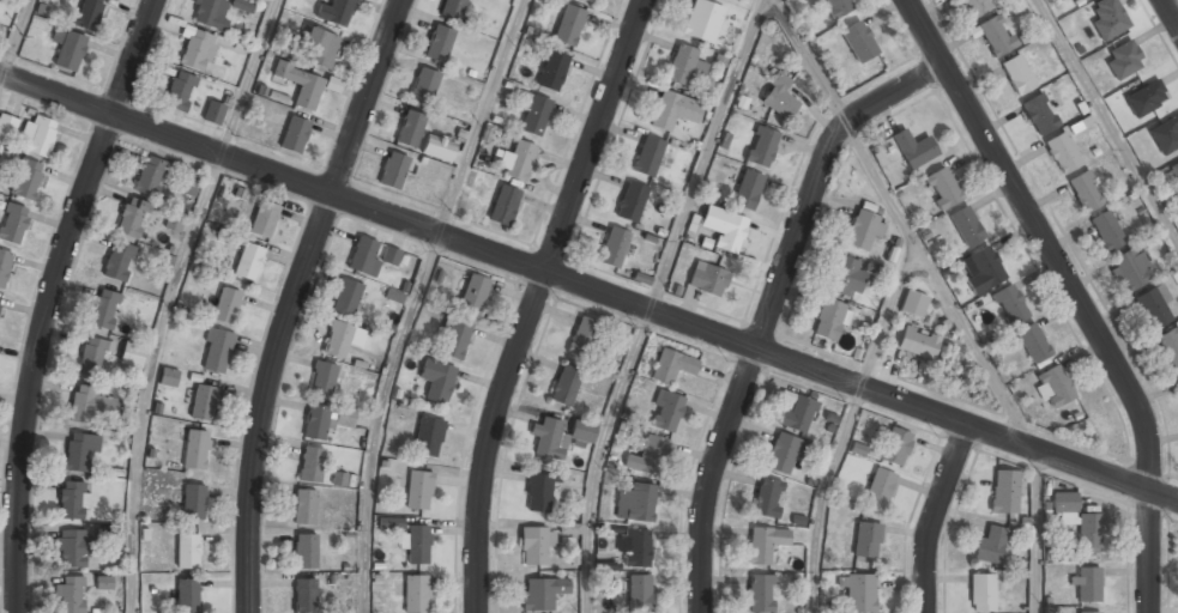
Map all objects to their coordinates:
building: (587, 0)
building: (1071, 0)
building: (1077, 1)
building: (242, 5)
building: (838, 7)
building: (975, 7)
building: (452, 10)
building: (209, 12)
building: (336, 12)
building: (87, 13)
road: (1170, 13)
building: (1108, 18)
building: (701, 22)
building: (569, 24)
building: (995, 35)
road: (13, 37)
building: (439, 44)
building: (860, 45)
building: (320, 49)
building: (70, 50)
building: (197, 50)
building: (1123, 59)
building: (682, 66)
building: (552, 69)
building: (1016, 74)
road: (250, 78)
building: (301, 84)
building: (423, 86)
building: (180, 91)
building: (778, 97)
building: (1144, 97)
building: (673, 111)
building: (212, 113)
building: (534, 114)
building: (1039, 114)
road: (482, 116)
road: (1106, 123)
building: (7, 128)
building: (410, 129)
building: (295, 134)
building: (1165, 134)
building: (37, 136)
building: (761, 146)
building: (914, 147)
building: (437, 148)
building: (1062, 152)
road: (707, 154)
building: (648, 157)
building: (516, 160)
building: (1176, 169)
building: (393, 170)
building: (149, 176)
building: (25, 180)
building: (188, 184)
building: (942, 188)
building: (748, 190)
building: (1086, 190)
building: (630, 202)
building: (503, 205)
building: (132, 219)
building: (264, 219)
building: (175, 220)
building: (12, 223)
road: (901, 225)
building: (966, 226)
building: (863, 227)
building: (724, 229)
building: (1106, 231)
building: (614, 247)
building: (368, 256)
building: (117, 262)
building: (248, 262)
building: (4, 265)
building: (981, 271)
building: (1131, 271)
building: (708, 278)
building: (846, 278)
road: (588, 287)
road: (1073, 292)
building: (473, 293)
building: (0, 298)
road: (49, 298)
road: (292, 298)
building: (346, 298)
road: (534, 301)
building: (913, 303)
building: (225, 306)
building: (1010, 306)
building: (1153, 308)
road: (769, 309)
building: (104, 310)
road: (888, 316)
building: (829, 320)
building: (582, 336)
building: (455, 339)
building: (338, 340)
building: (917, 342)
building: (1033, 342)
building: (1168, 346)
building: (217, 352)
building: (132, 354)
building: (93, 356)
building: (671, 365)
building: (169, 377)
road: (147, 378)
building: (436, 380)
building: (322, 381)
building: (1177, 381)
building: (564, 384)
building: (1055, 387)
building: (204, 403)
building: (85, 405)
building: (665, 411)
building: (797, 414)
building: (344, 417)
road: (379, 418)
building: (316, 423)
building: (428, 436)
building: (558, 436)
building: (895, 447)
building: (195, 450)
building: (79, 453)
building: (784, 453)
building: (648, 455)
road: (596, 456)
building: (312, 465)
building: (339, 479)
building: (880, 487)
building: (418, 490)
building: (1004, 492)
building: (538, 493)
road: (821, 496)
building: (767, 498)
building: (73, 500)
building: (193, 503)
building: (635, 503)
building: (304, 508)
road: (935, 516)
building: (1079, 520)
building: (391, 523)
building: (569, 528)
road: (1034, 532)
building: (866, 540)
building: (765, 544)
building: (417, 545)
building: (991, 545)
building: (536, 546)
building: (635, 547)
building: (72, 548)
building: (188, 552)
building: (306, 552)
building: (608, 566)
building: (1086, 582)
building: (104, 583)
building: (981, 591)
building: (858, 593)
building: (416, 594)
building: (543, 594)
building: (639, 594)
building: (760, 594)
building: (70, 595)
building: (187, 596)
building: (304, 596)
building: (1091, 612)

